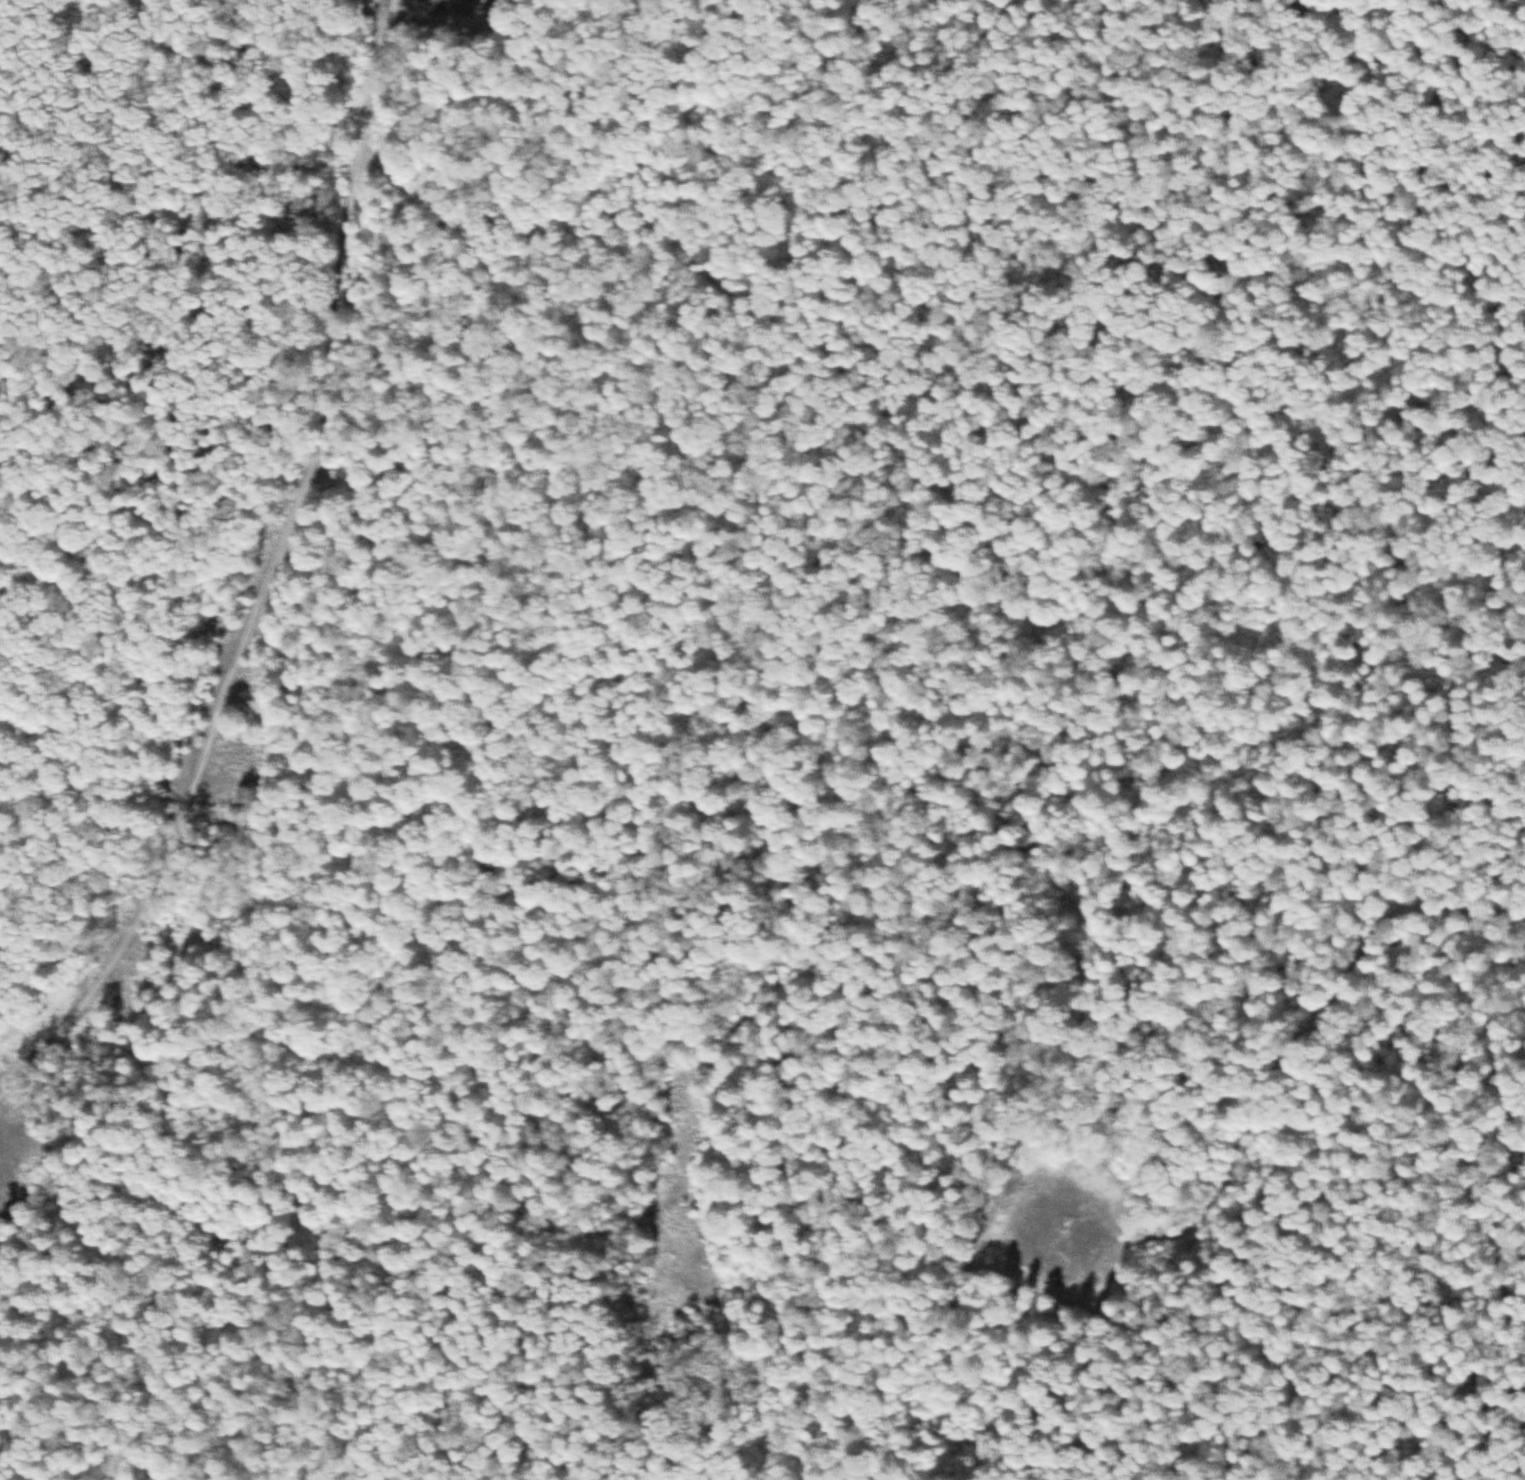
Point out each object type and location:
road: (268, 572)
road: (3, 1088)

